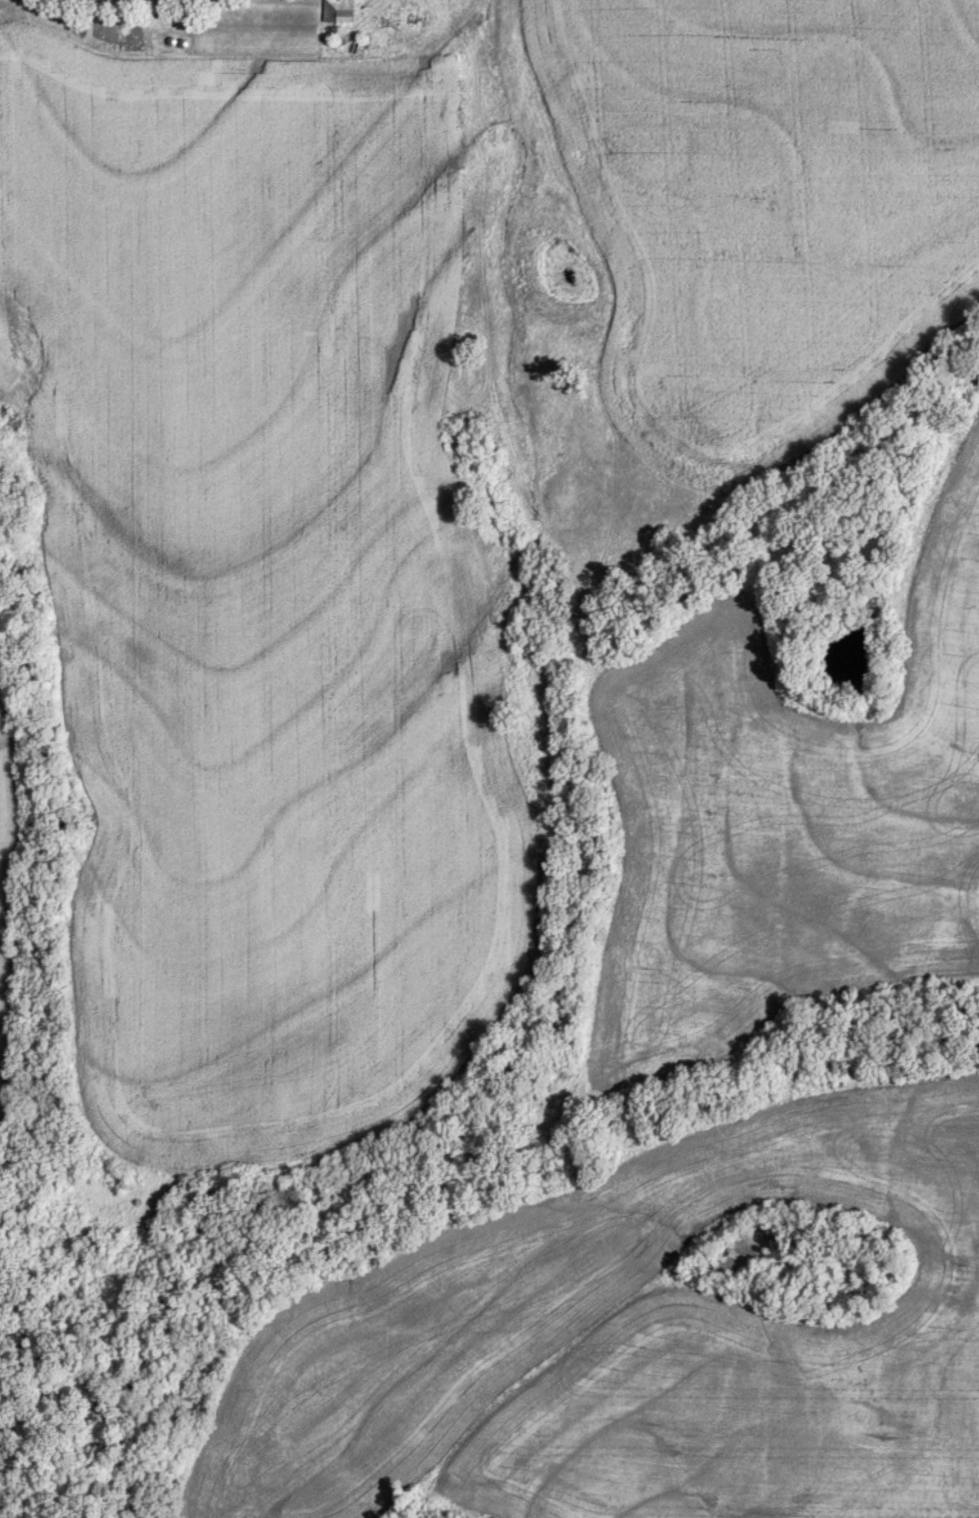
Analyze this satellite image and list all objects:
building: (337, 11)
building: (74, 22)

